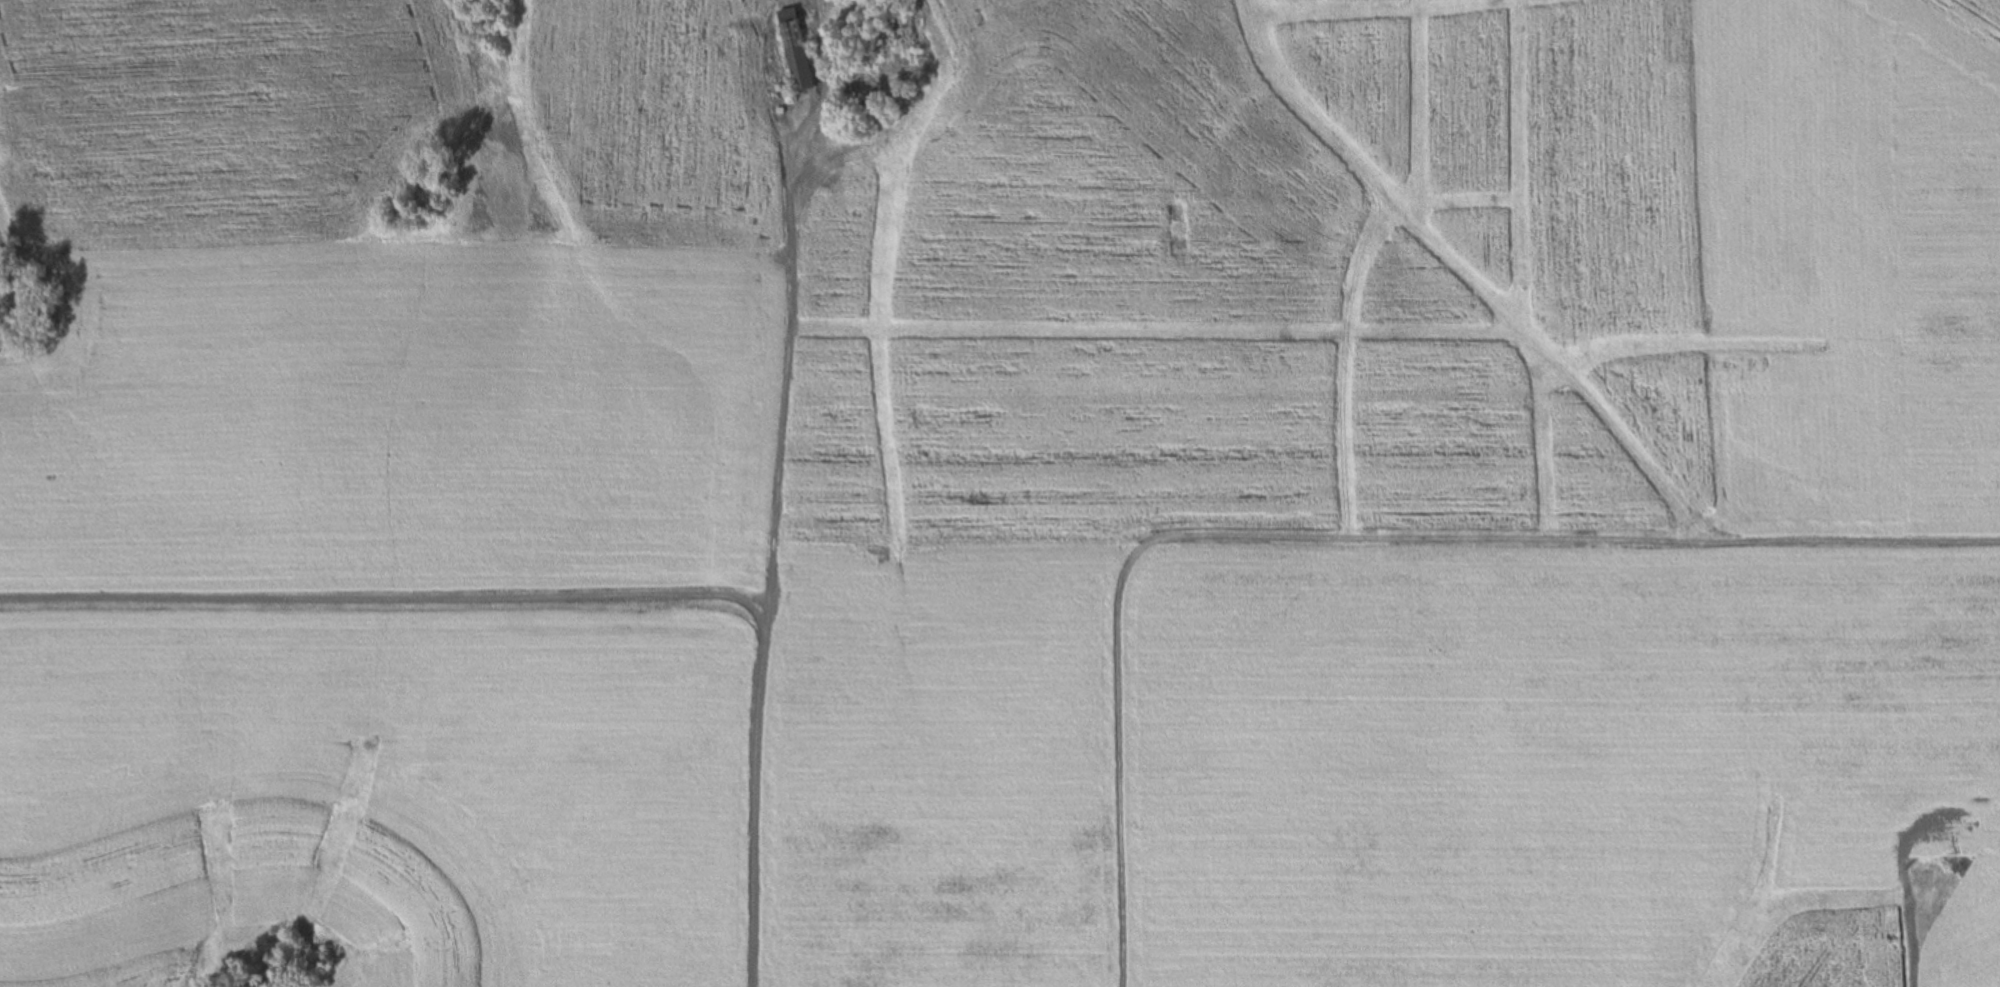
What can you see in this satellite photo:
building: (797, 50)
road: (855, 151)
road: (1507, 313)
road: (776, 488)
road: (1348, 539)
road: (391, 598)
road: (1907, 929)

